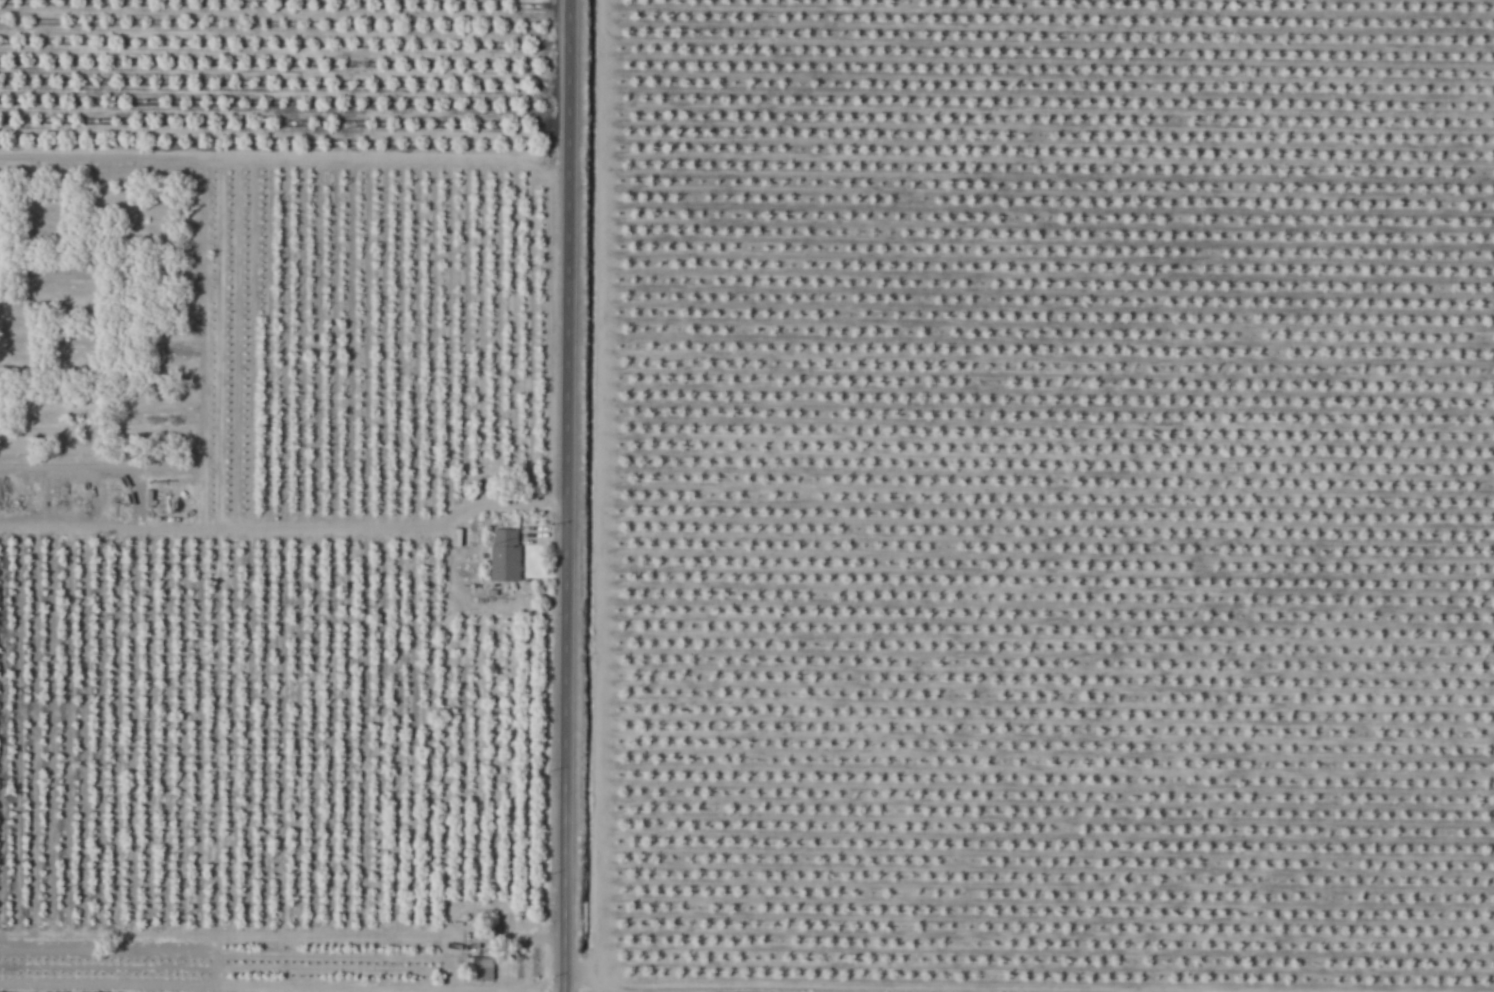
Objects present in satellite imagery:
road: (568, 495)
building: (504, 554)

